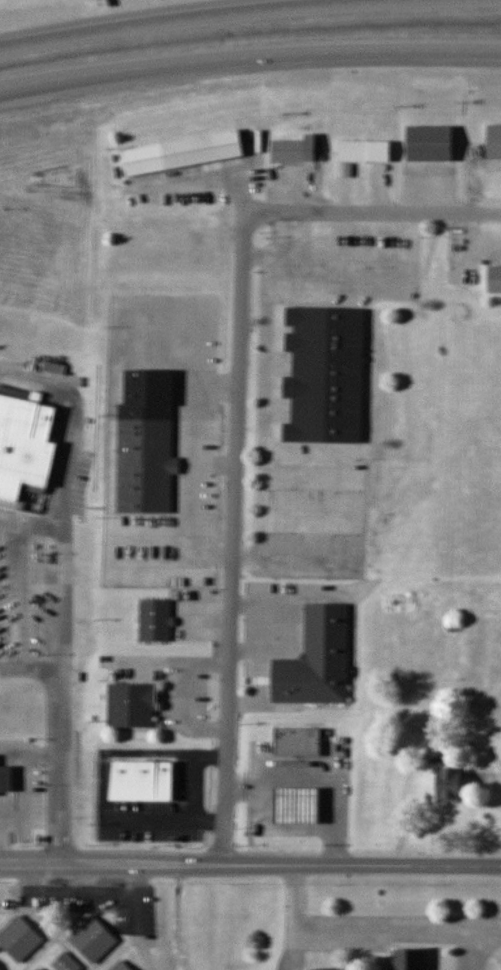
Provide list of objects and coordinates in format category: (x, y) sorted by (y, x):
road: (249, 13)
road: (249, 61)
building: (494, 141)
building: (430, 143)
building: (294, 150)
building: (364, 151)
building: (182, 153)
road: (371, 211)
building: (494, 278)
building: (326, 374)
building: (25, 451)
building: (146, 465)
road: (29, 524)
road: (232, 537)
road: (59, 590)
road: (26, 596)
parking lot: (28, 597)
building: (396, 602)
building: (156, 620)
building: (317, 660)
road: (30, 668)
building: (132, 706)
building: (298, 741)
building: (6, 779)
building: (141, 781)
building: (449, 784)
building: (301, 807)
road: (250, 866)
road: (294, 918)
road: (397, 929)
building: (20, 938)
building: (93, 939)
road: (478, 946)
building: (408, 959)
building: (65, 962)
building: (121, 966)
building: (0, 969)
building: (39, 969)
building: (325, 969)

